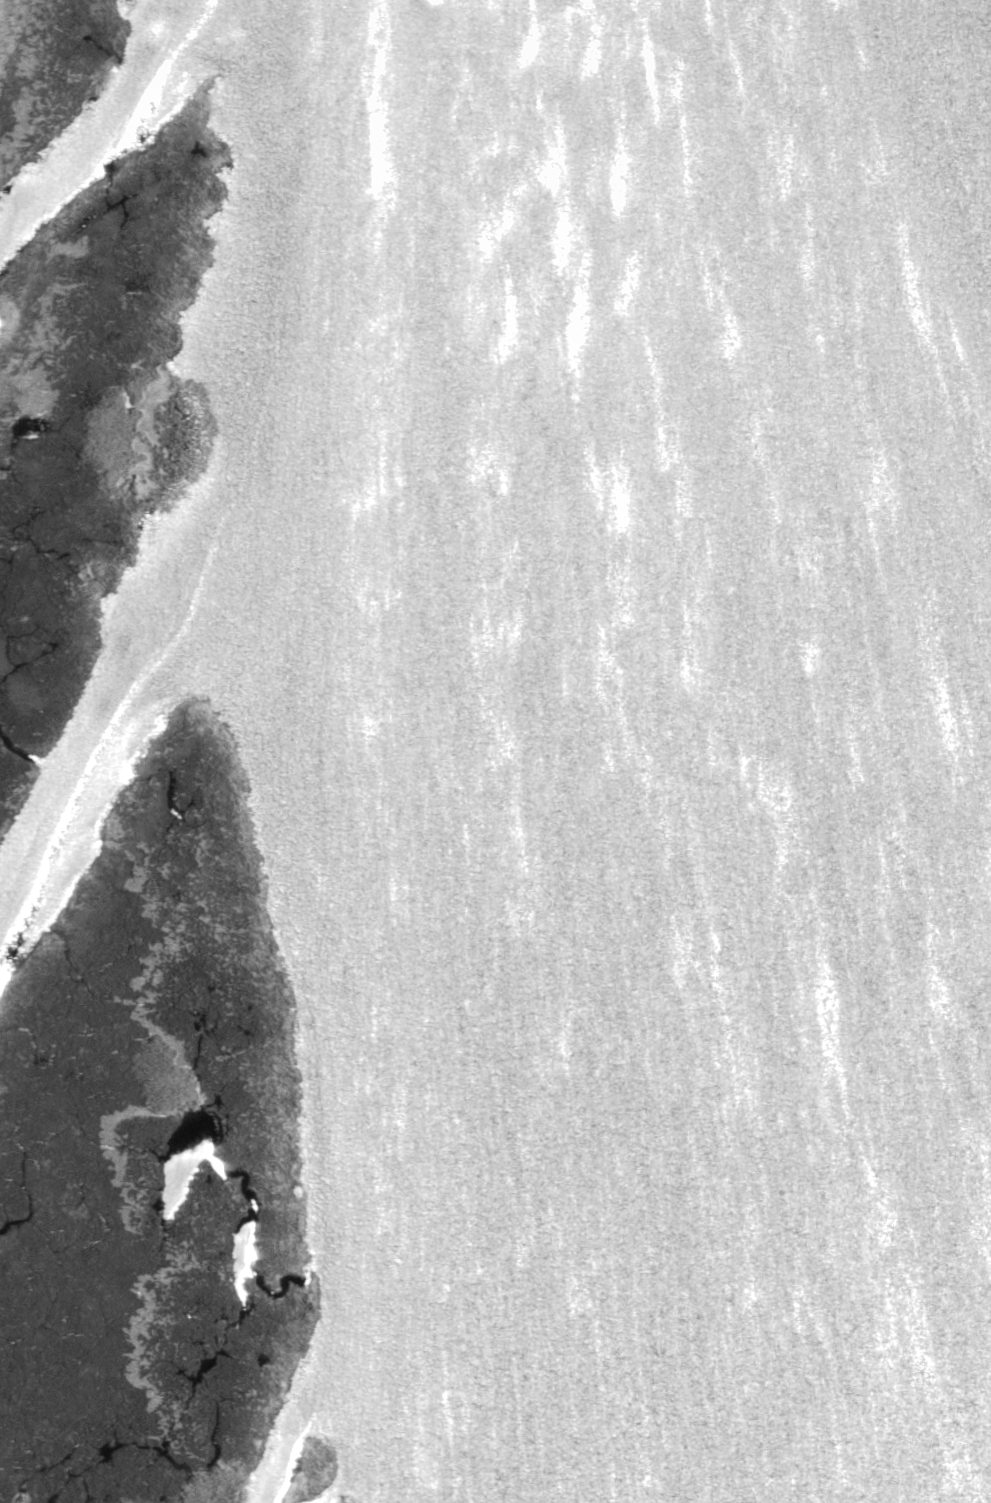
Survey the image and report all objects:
river: (842, 688)

